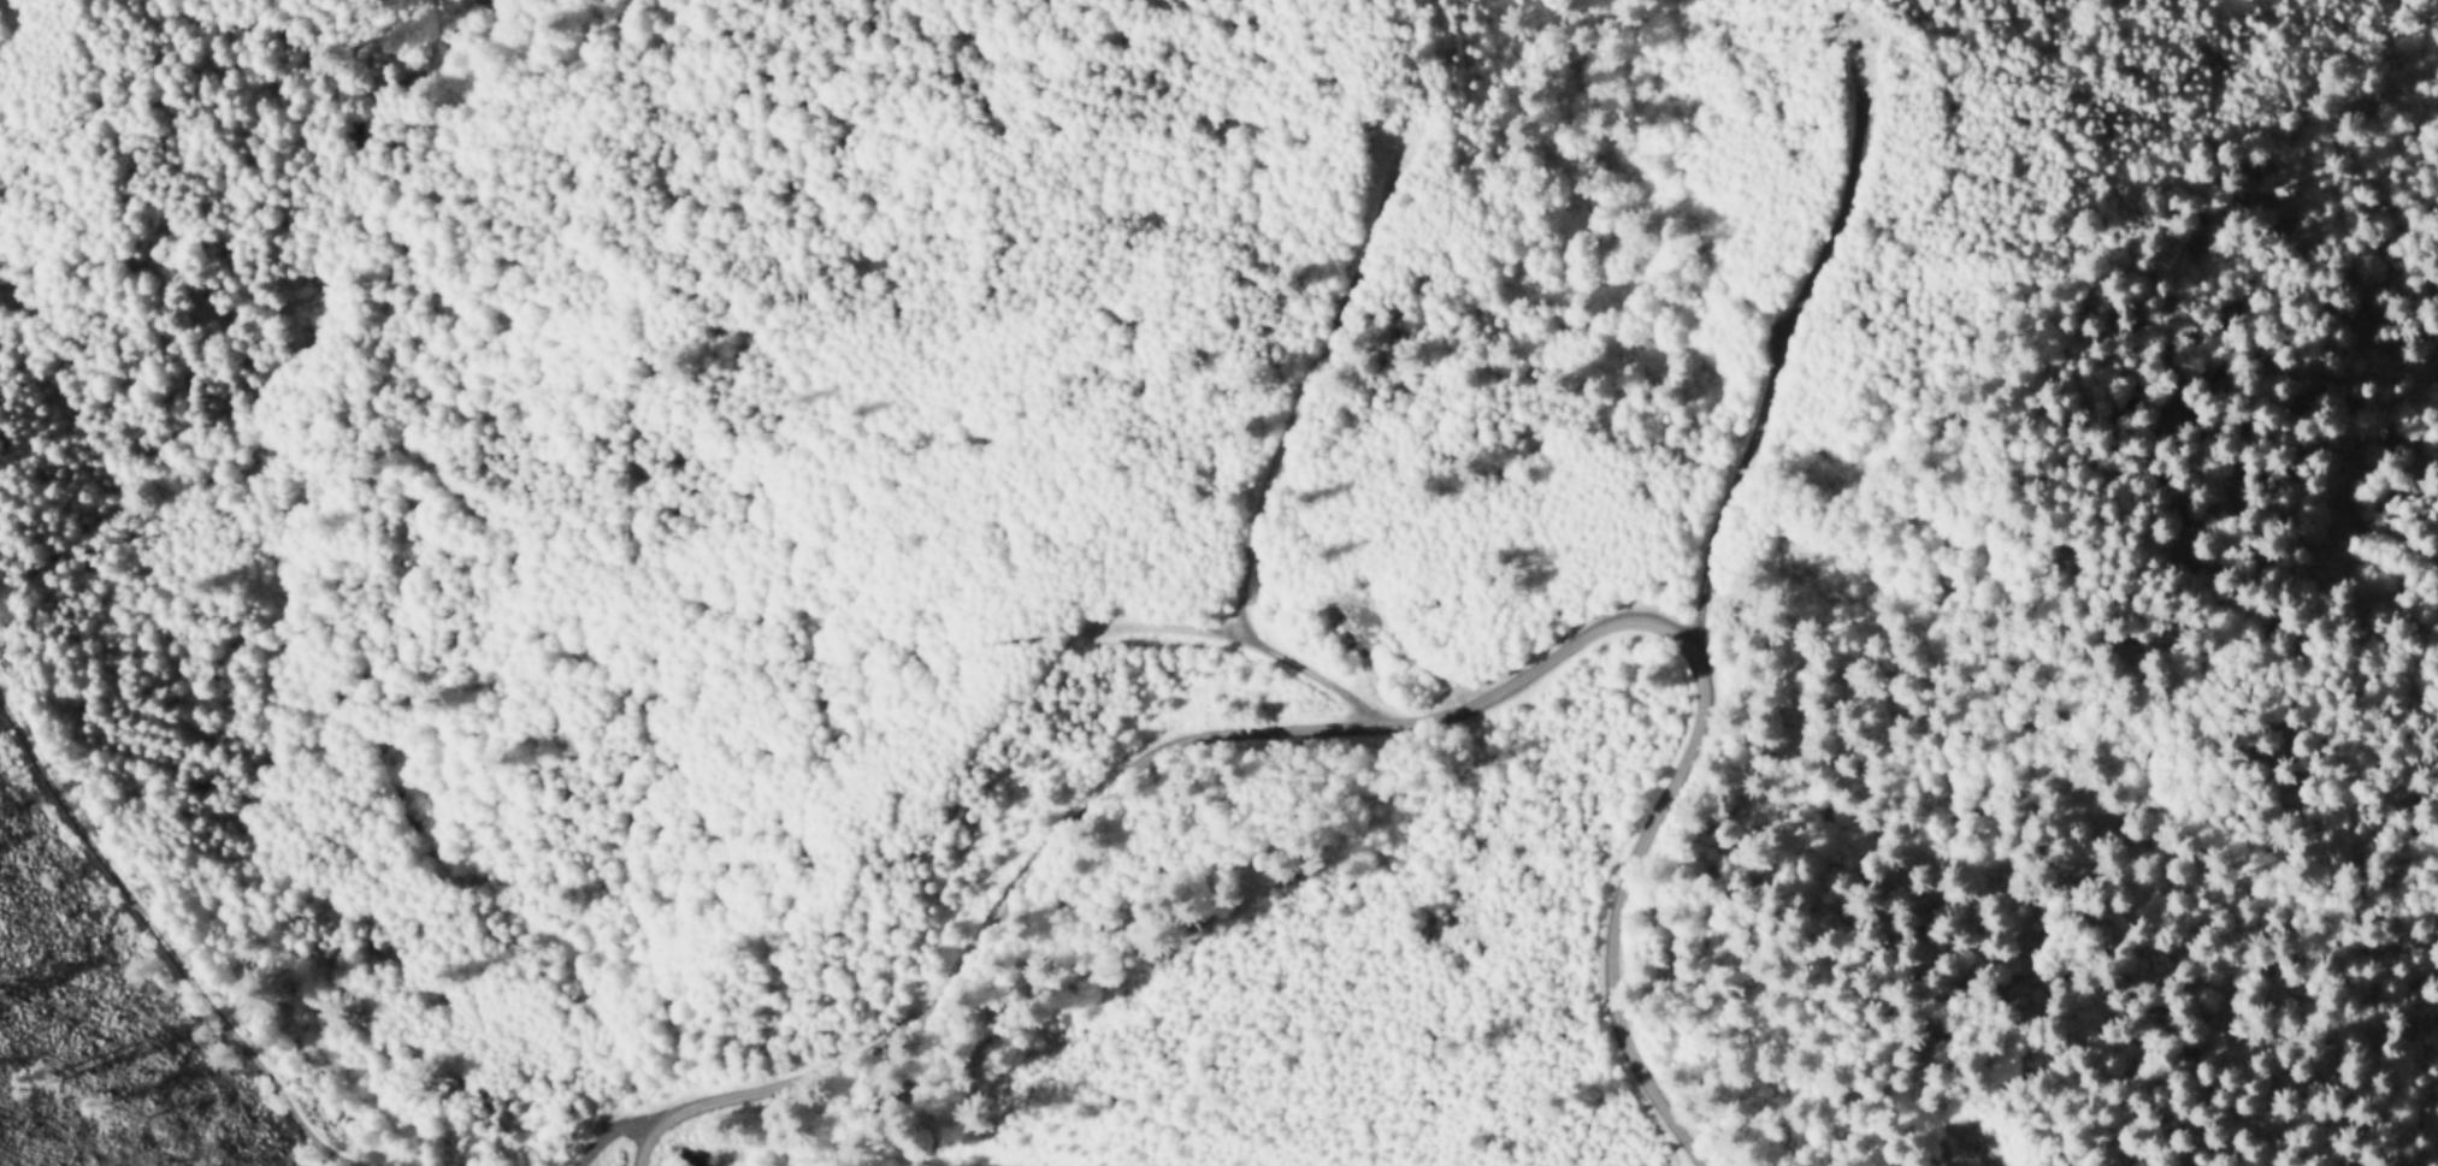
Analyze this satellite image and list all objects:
road: (1379, 727)
road: (22, 741)
road: (183, 990)
road: (618, 1131)

